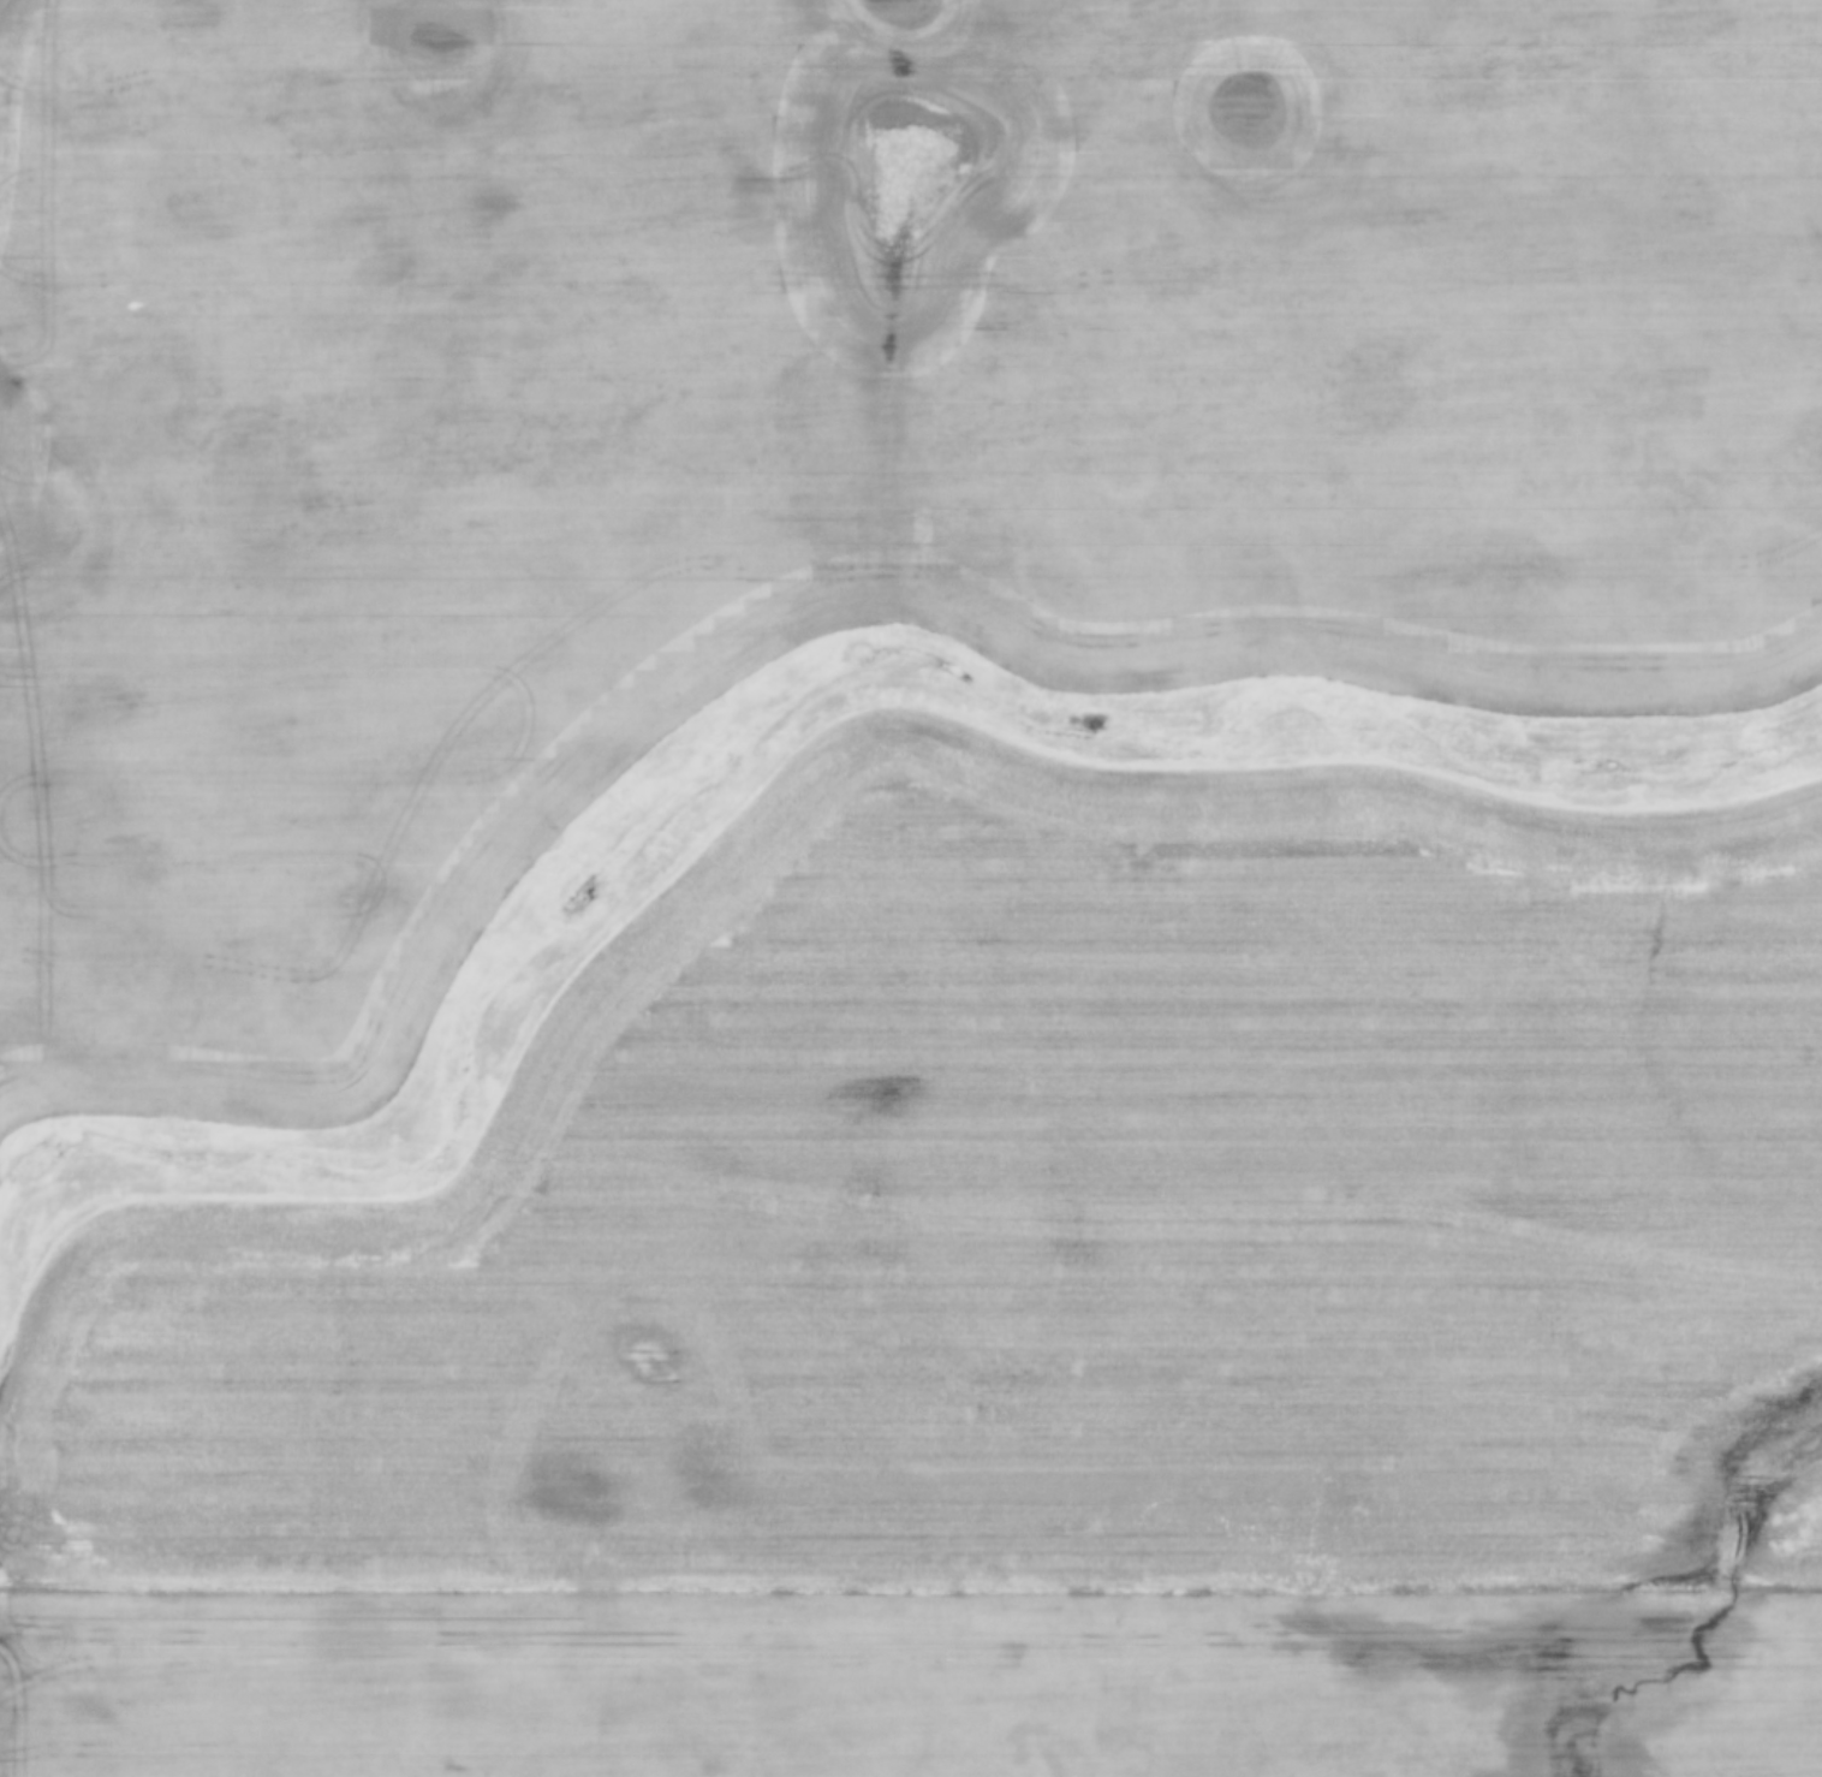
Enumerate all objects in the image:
road: (911, 1589)

